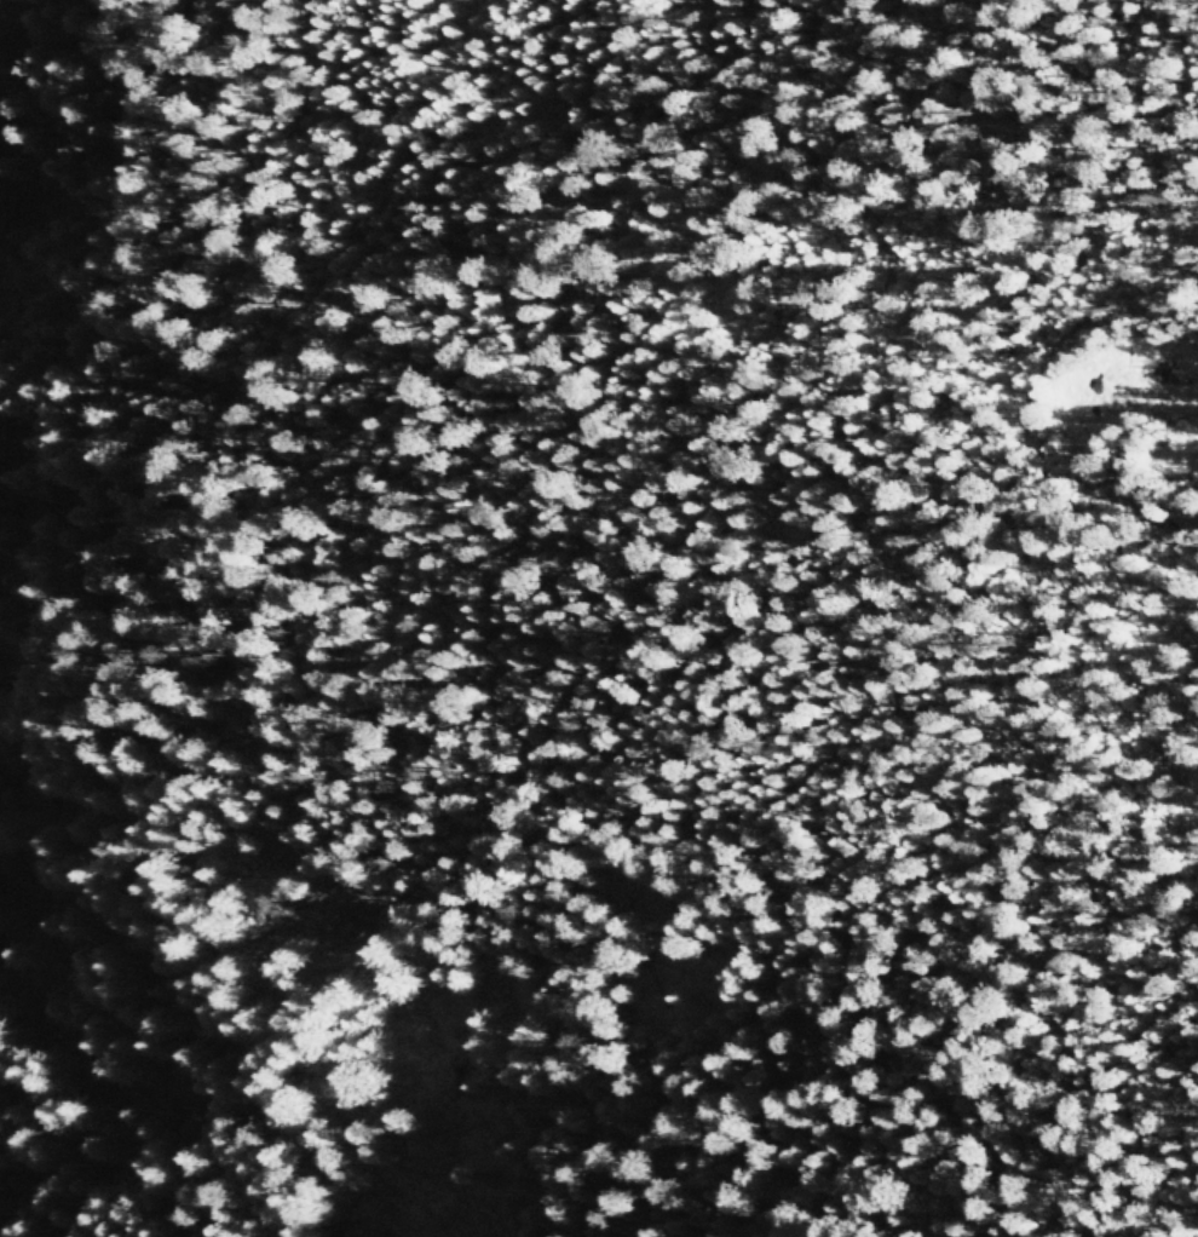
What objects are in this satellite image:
road: (1096, 525)
road: (1142, 1132)

